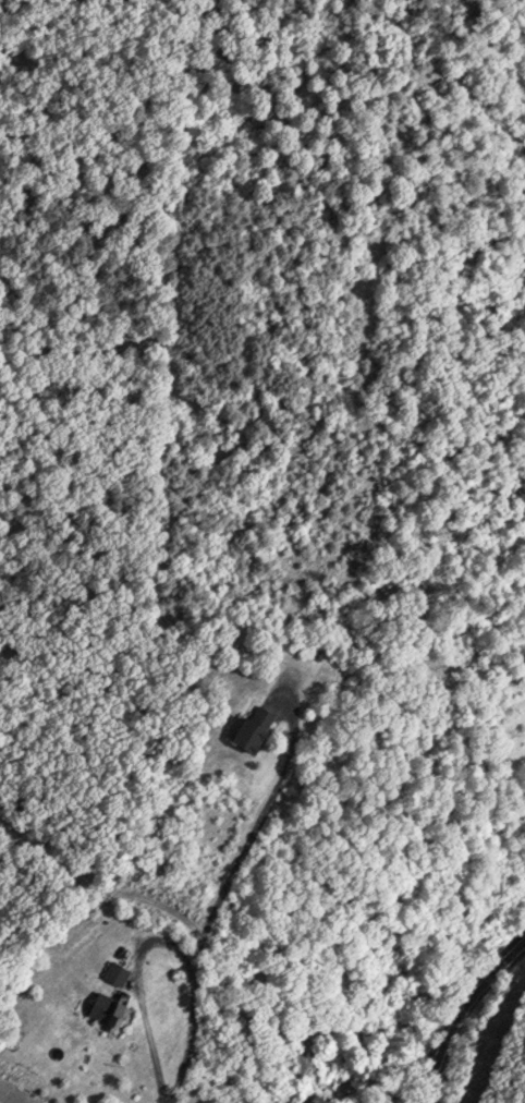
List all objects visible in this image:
building: (247, 727)
road: (249, 824)
road: (161, 937)
building: (111, 972)
road: (468, 1010)

